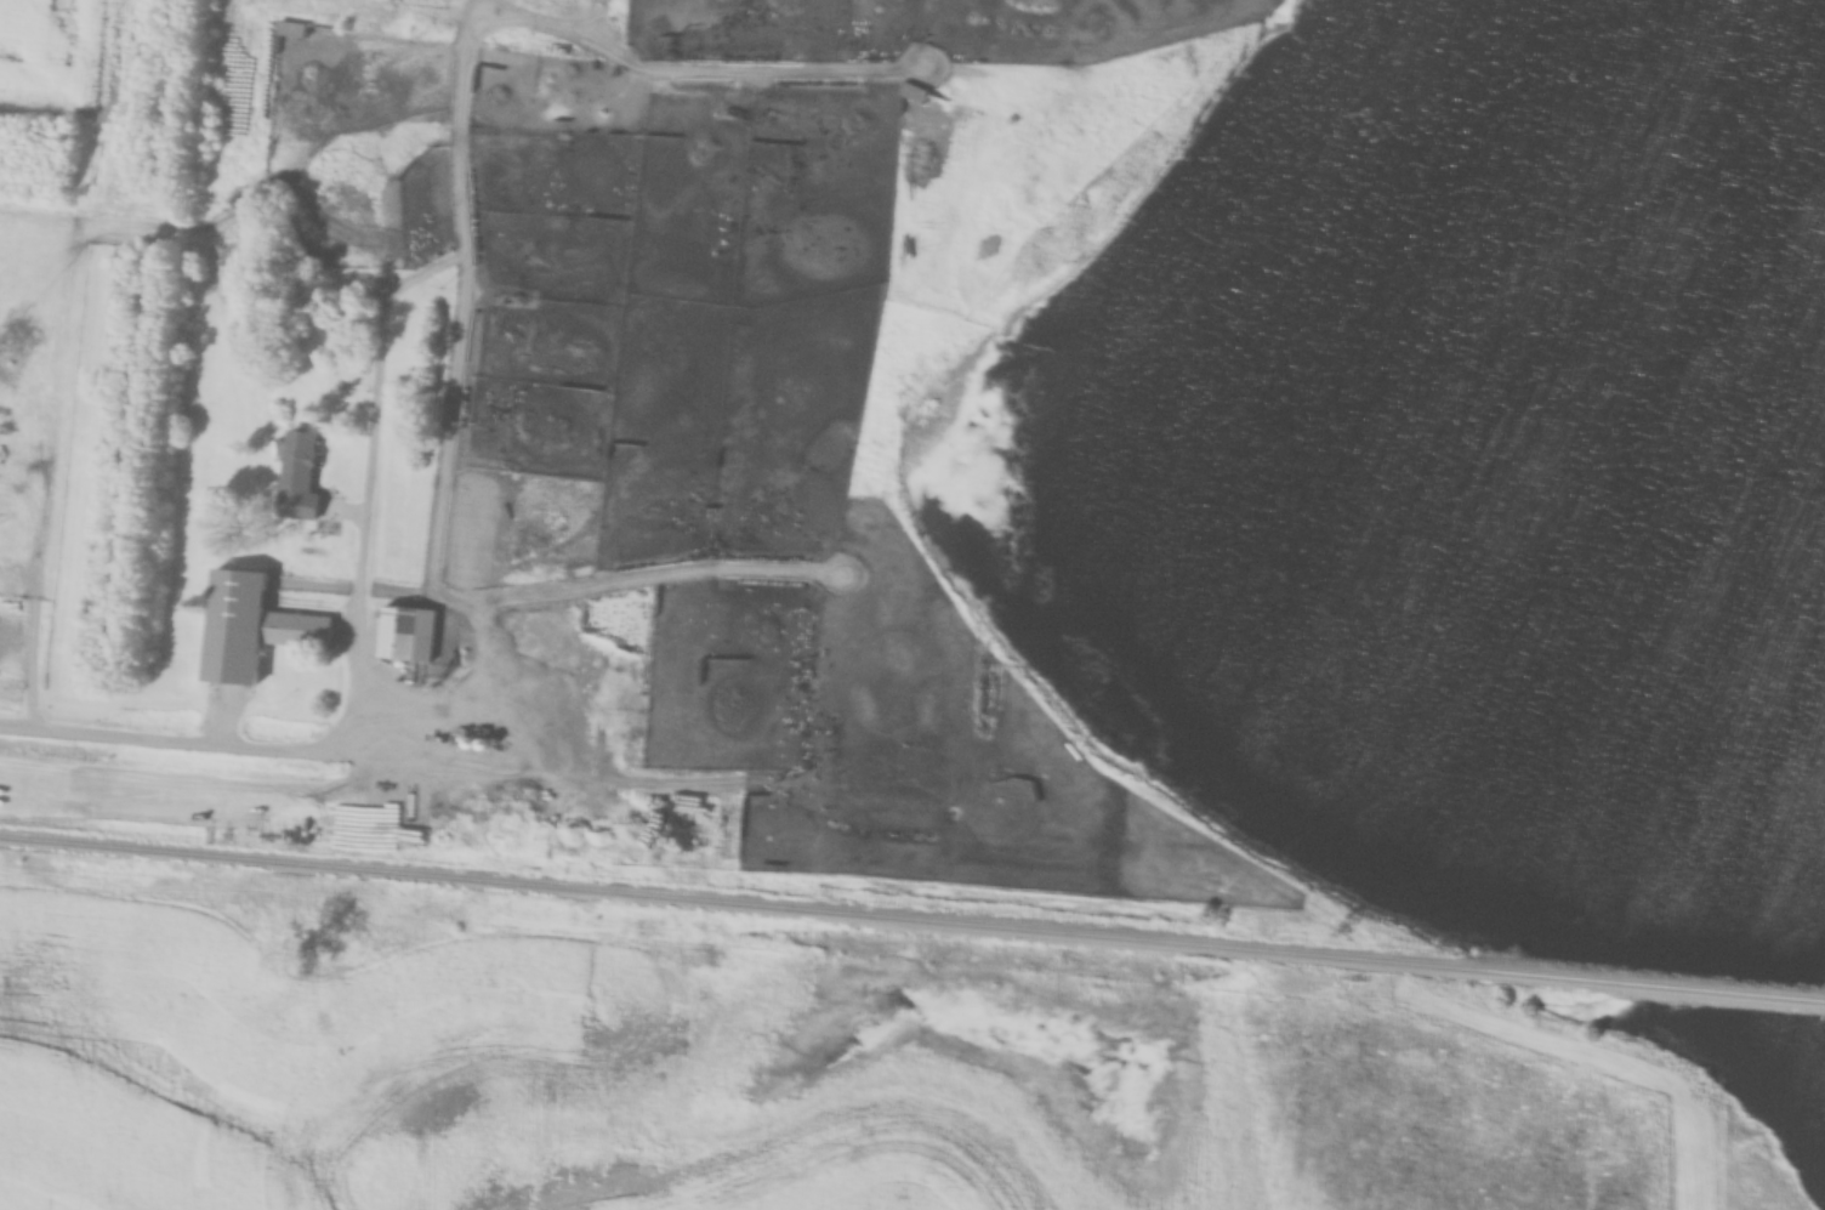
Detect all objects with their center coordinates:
building: (291, 29)
building: (914, 93)
building: (299, 477)
building: (251, 627)
building: (408, 634)
road: (165, 740)
building: (478, 745)
railway: (911, 920)

